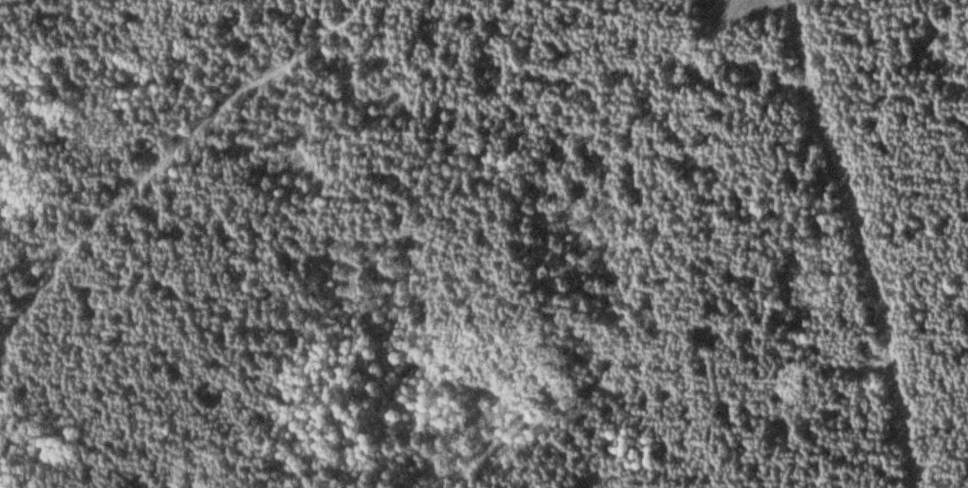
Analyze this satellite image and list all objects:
road: (155, 167)
road: (715, 226)
road: (867, 244)

